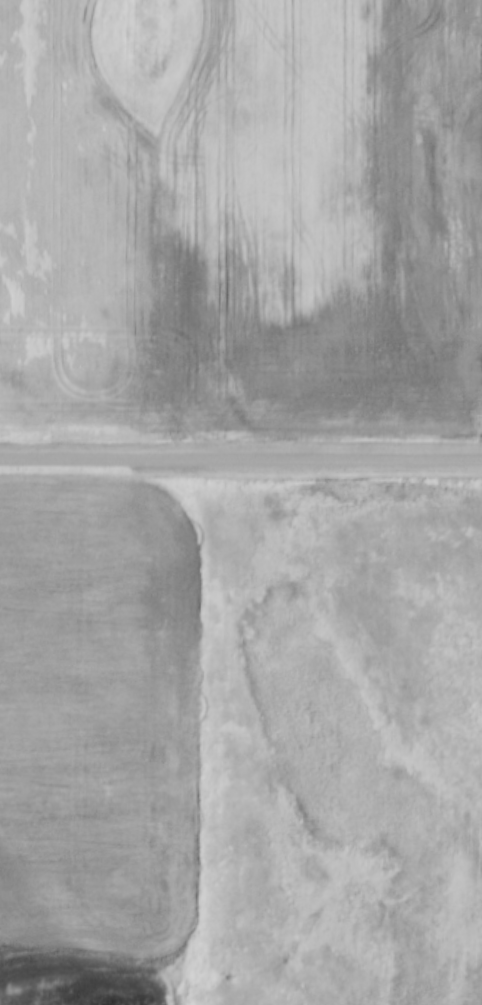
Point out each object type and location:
road: (241, 458)

